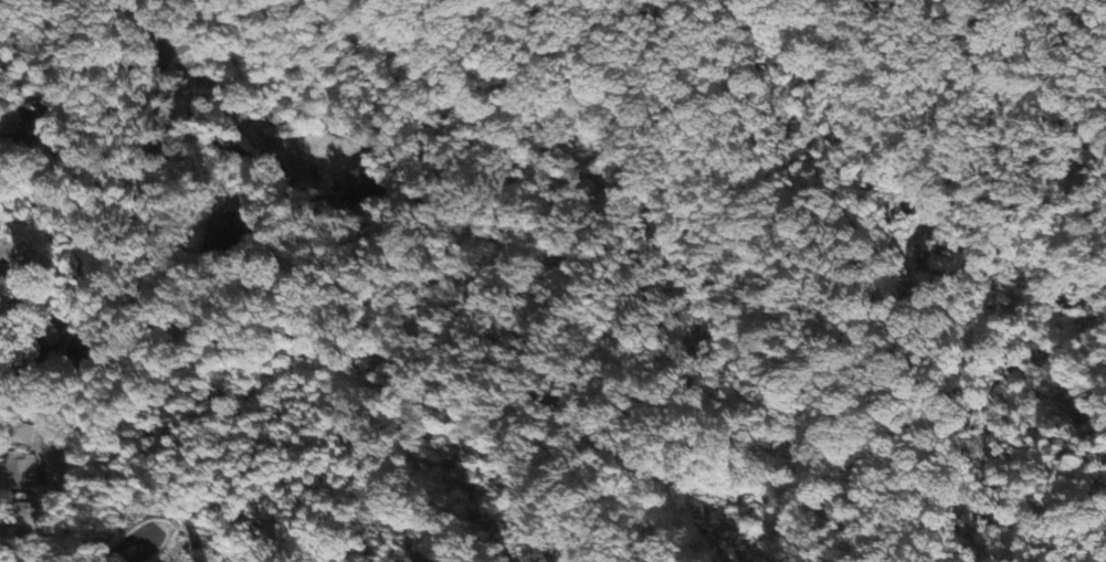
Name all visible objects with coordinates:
road: (151, 24)
road: (199, 34)
road: (197, 152)
building: (10, 299)
road: (51, 498)
building: (30, 522)

